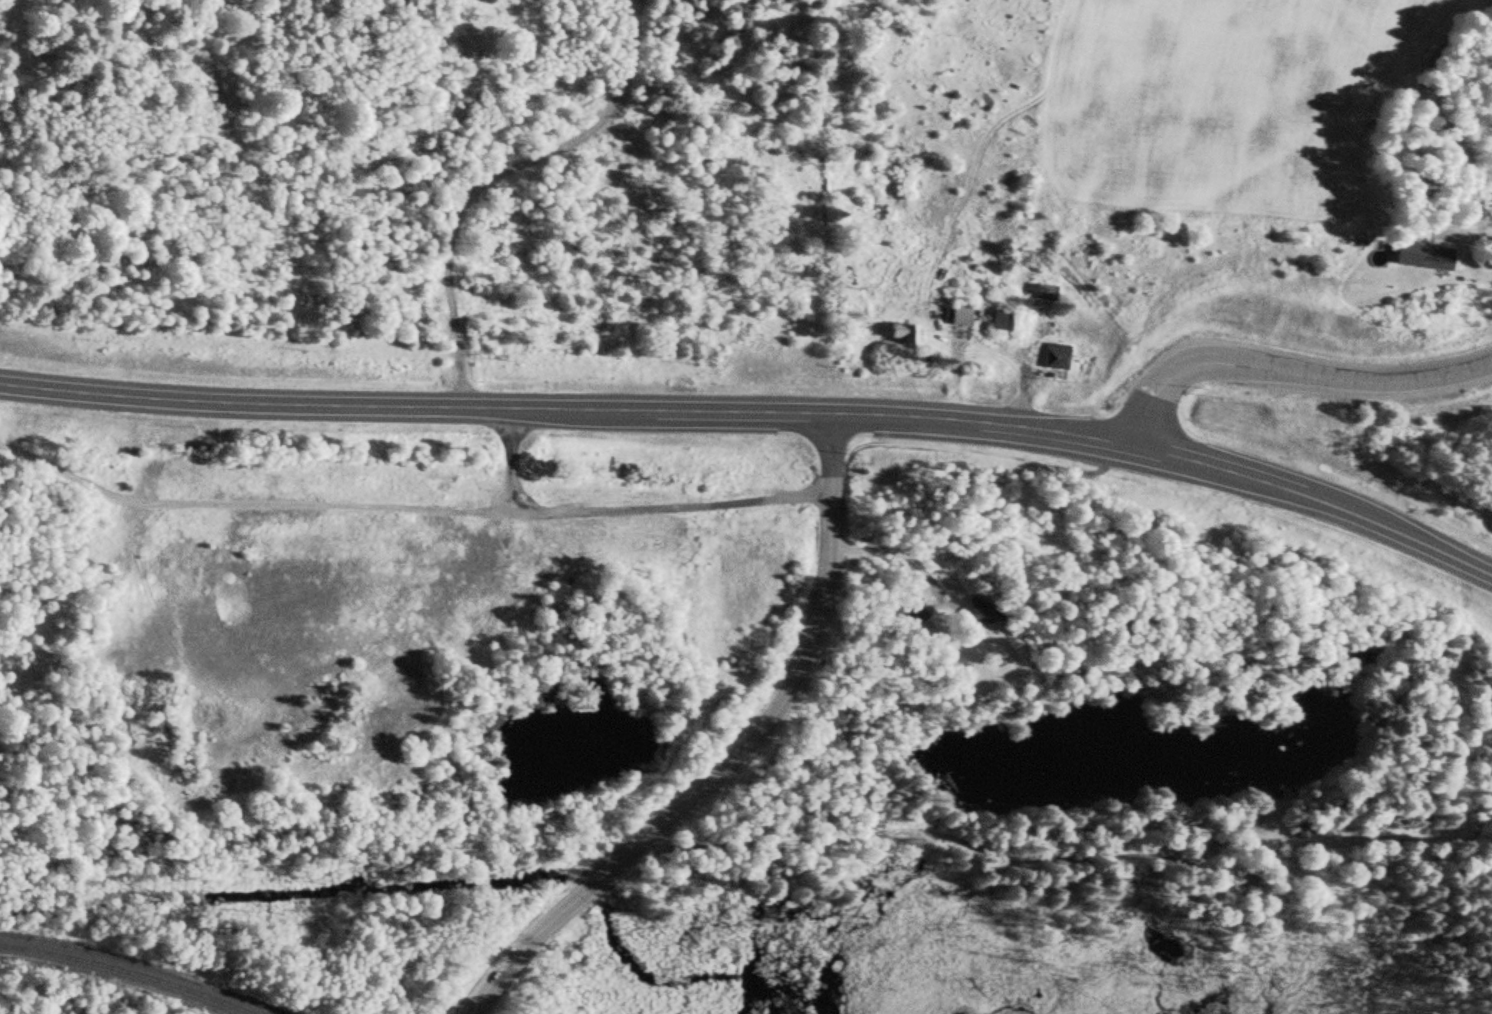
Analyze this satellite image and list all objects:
road: (1477, 235)
building: (1422, 258)
building: (1041, 292)
building: (960, 316)
building: (1000, 321)
building: (903, 336)
building: (1056, 358)
road: (1289, 374)
road: (758, 411)
road: (409, 509)
building: (978, 612)
building: (913, 616)
road: (735, 757)
road: (775, 837)
railway: (125, 974)

